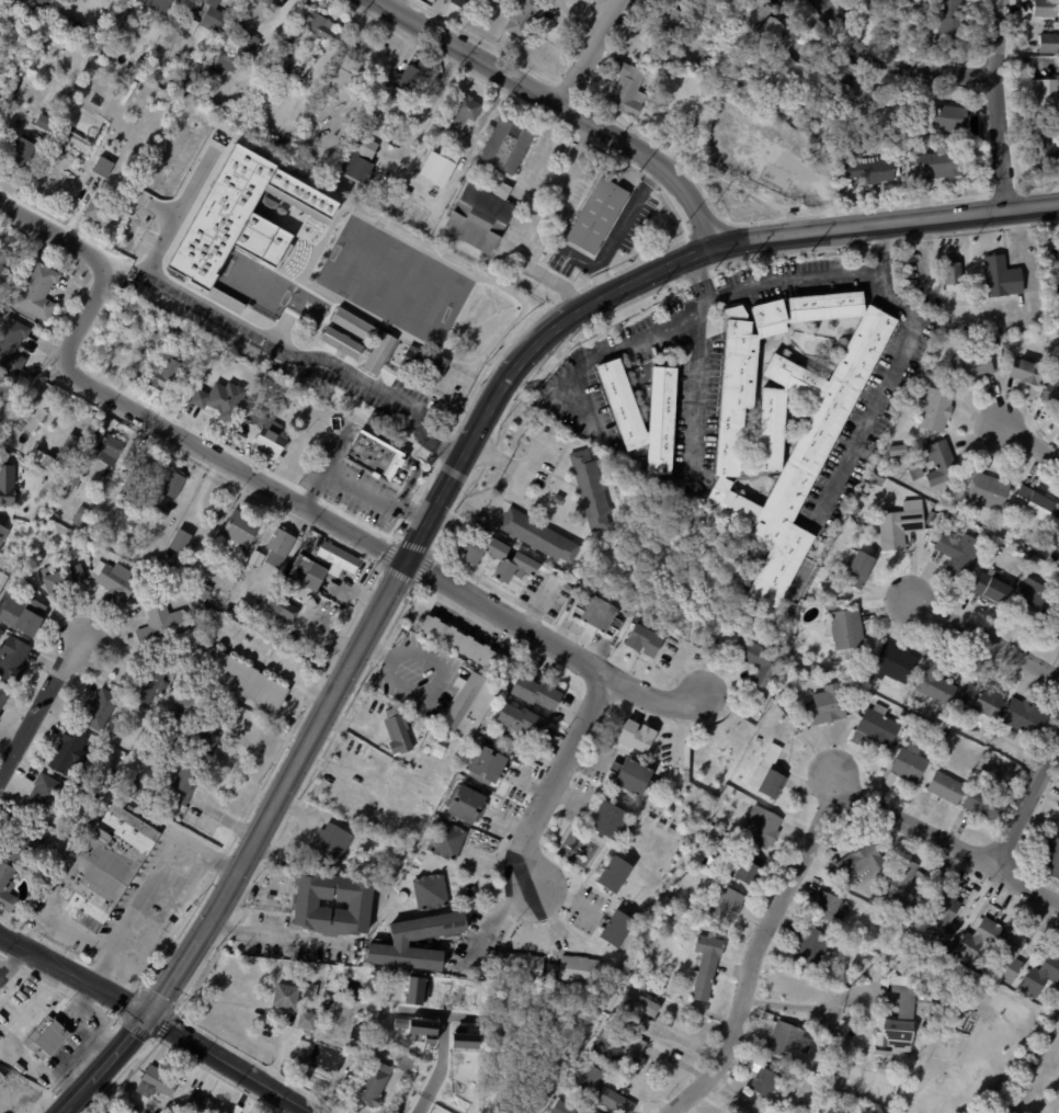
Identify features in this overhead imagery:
building: (69, 0)
building: (265, 1)
building: (42, 2)
building: (22, 3)
building: (458, 3)
building: (157, 4)
road: (191, 4)
road: (400, 7)
building: (1045, 9)
building: (301, 10)
building: (213, 15)
building: (524, 20)
building: (949, 20)
building: (762, 21)
building: (669, 22)
building: (317, 24)
building: (190, 25)
building: (1049, 43)
building: (286, 44)
building: (318, 45)
building: (236, 54)
road: (595, 56)
building: (138, 64)
building: (273, 64)
road: (895, 65)
building: (332, 69)
building: (346, 76)
building: (273, 77)
building: (794, 78)
building: (400, 84)
building: (326, 89)
building: (127, 92)
building: (626, 92)
building: (29, 94)
building: (1046, 95)
road: (432, 101)
building: (858, 101)
road: (997, 104)
road: (558, 106)
building: (465, 112)
building: (372, 116)
building: (439, 116)
building: (942, 118)
building: (41, 122)
building: (914, 128)
building: (687, 136)
building: (901, 137)
building: (504, 146)
building: (1044, 151)
building: (18, 152)
building: (358, 159)
building: (103, 167)
building: (936, 167)
building: (436, 168)
building: (868, 172)
building: (403, 192)
building: (98, 211)
building: (595, 215)
building: (790, 215)
building: (479, 216)
building: (248, 224)
road: (618, 229)
building: (858, 250)
road: (885, 252)
building: (1056, 265)
building: (3, 268)
building: (952, 274)
road: (1030, 275)
building: (1001, 277)
road: (157, 285)
building: (36, 292)
building: (361, 306)
building: (733, 311)
road: (913, 322)
building: (351, 323)
building: (983, 327)
building: (991, 328)
building: (172, 330)
building: (116, 338)
building: (994, 341)
building: (340, 342)
building: (10, 344)
road: (625, 344)
building: (148, 352)
building: (230, 361)
building: (424, 363)
building: (971, 367)
road: (348, 368)
building: (1025, 372)
building: (930, 374)
building: (163, 377)
building: (278, 386)
road: (697, 396)
building: (1051, 397)
building: (223, 406)
building: (622, 409)
building: (934, 410)
building: (24, 414)
building: (267, 433)
building: (815, 439)
road: (1029, 442)
road: (339, 443)
building: (897, 451)
road: (403, 452)
building: (105, 453)
building: (62, 454)
building: (374, 456)
building: (938, 462)
building: (140, 465)
building: (76, 476)
building: (118, 476)
road: (356, 480)
building: (877, 480)
building: (130, 482)
building: (93, 484)
building: (171, 485)
building: (5, 486)
building: (590, 490)
road: (278, 491)
building: (987, 491)
road: (441, 492)
building: (954, 498)
building: (557, 499)
building: (1033, 503)
building: (855, 510)
building: (157, 514)
building: (77, 515)
building: (931, 520)
building: (900, 525)
building: (1055, 527)
building: (30, 529)
building: (863, 529)
building: (399, 530)
building: (237, 531)
building: (2, 533)
building: (537, 537)
building: (176, 542)
building: (277, 547)
building: (958, 553)
building: (1056, 553)
building: (338, 558)
building: (254, 559)
building: (498, 561)
building: (1036, 568)
building: (858, 571)
building: (307, 573)
building: (61, 580)
building: (284, 581)
building: (113, 582)
building: (568, 588)
building: (990, 588)
building: (198, 589)
building: (409, 594)
building: (274, 603)
building: (1033, 604)
building: (829, 605)
building: (202, 612)
building: (287, 612)
building: (21, 614)
building: (235, 615)
building: (597, 616)
building: (1055, 626)
building: (160, 627)
building: (0, 632)
building: (844, 633)
road: (983, 637)
building: (641, 641)
building: (465, 645)
building: (11, 660)
building: (191, 660)
road: (284, 662)
building: (893, 663)
building: (760, 666)
building: (148, 682)
building: (244, 683)
building: (934, 685)
building: (534, 691)
building: (2, 695)
building: (470, 701)
building: (980, 702)
building: (179, 706)
building: (198, 706)
road: (41, 709)
building: (824, 709)
building: (96, 711)
building: (904, 714)
building: (519, 719)
building: (1023, 719)
building: (875, 728)
building: (396, 731)
building: (943, 734)
building: (635, 735)
building: (444, 736)
building: (759, 740)
building: (127, 741)
building: (205, 741)
building: (67, 752)
building: (908, 764)
building: (486, 765)
building: (766, 773)
building: (630, 775)
road: (555, 780)
building: (183, 785)
building: (945, 788)
building: (138, 792)
building: (41, 795)
road: (1025, 800)
building: (464, 804)
building: (981, 805)
road: (295, 809)
building: (86, 816)
building: (607, 819)
building: (761, 826)
building: (366, 831)
building: (1058, 831)
building: (1058, 832)
building: (715, 836)
building: (445, 840)
building: (60, 842)
road: (949, 842)
building: (22, 843)
building: (328, 844)
building: (1049, 858)
building: (862, 861)
building: (105, 865)
building: (747, 867)
building: (613, 874)
building: (904, 885)
building: (5, 888)
building: (429, 890)
building: (670, 900)
building: (357, 904)
building: (727, 906)
building: (830, 908)
road: (160, 915)
road: (130, 917)
road: (510, 917)
building: (943, 919)
building: (615, 928)
road: (275, 935)
building: (977, 939)
building: (399, 942)
building: (810, 944)
building: (53, 945)
road: (756, 953)
building: (69, 955)
building: (1009, 956)
road: (11, 957)
building: (705, 965)
building: (522, 966)
road: (102, 967)
building: (578, 969)
building: (151, 970)
building: (1041, 977)
building: (415, 990)
building: (924, 991)
building: (289, 993)
road: (807, 998)
building: (635, 1007)
building: (933, 1009)
road: (436, 1014)
traffic signals: (149, 1017)
building: (305, 1020)
building: (897, 1020)
road: (157, 1021)
road: (166, 1025)
building: (417, 1027)
building: (307, 1035)
building: (48, 1037)
building: (462, 1040)
building: (787, 1040)
building: (301, 1043)
building: (619, 1047)
building: (396, 1053)
road: (254, 1063)
building: (403, 1063)
building: (808, 1065)
road: (440, 1066)
building: (3, 1075)
road: (118, 1075)
road: (217, 1077)
building: (763, 1081)
building: (155, 1082)
building: (372, 1084)
building: (603, 1091)
building: (197, 1104)
building: (799, 1104)
building: (744, 1105)
building: (561, 1108)
building: (236, 1109)
building: (135, 1110)
building: (590, 1111)
building: (143, 1112)
building: (229, 1112)
building: (230, 1112)

